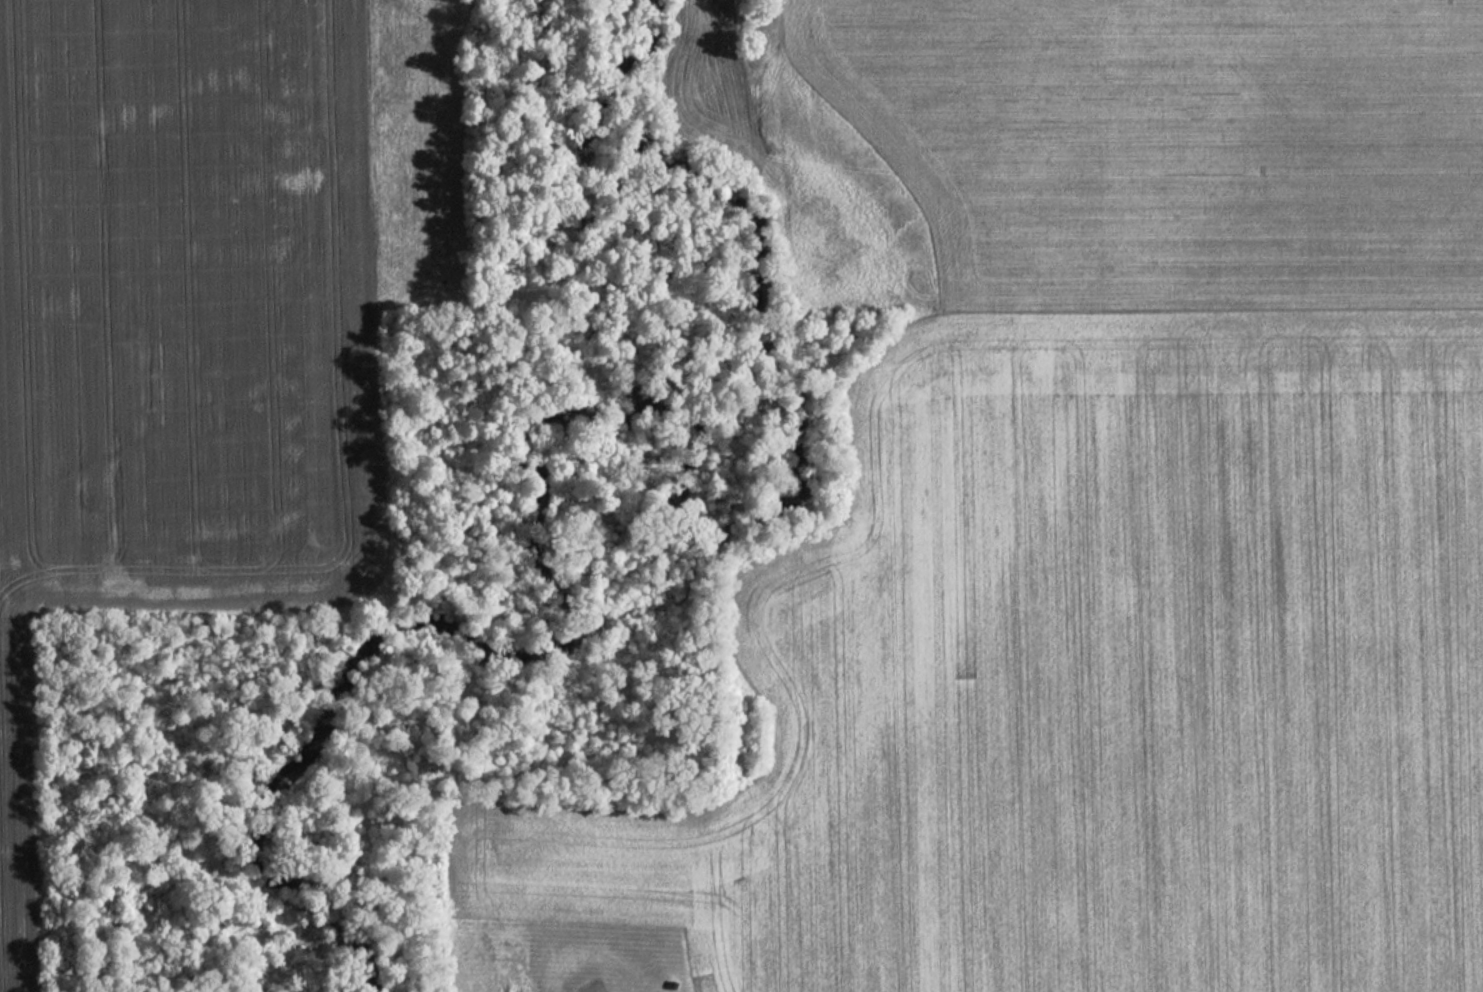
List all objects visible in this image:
crop: (1166, 138)
crop: (197, 307)
crop: (1083, 671)

